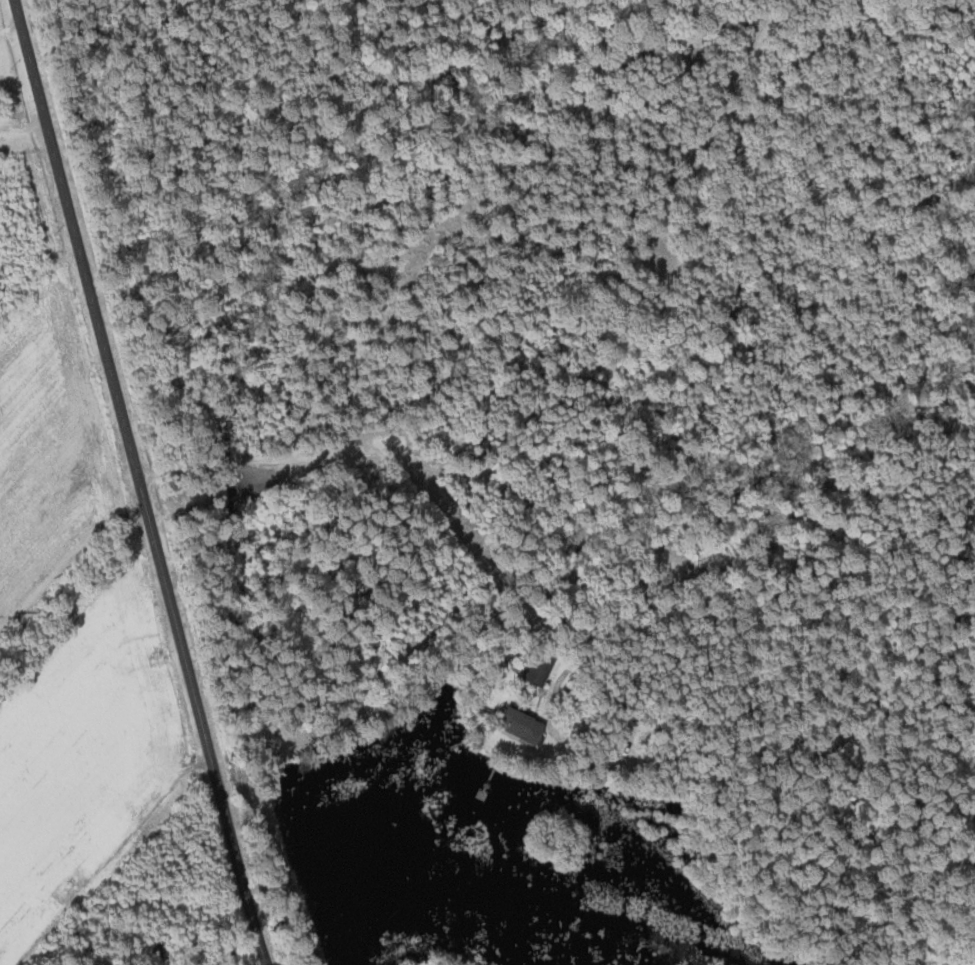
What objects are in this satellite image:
road: (337, 456)
road: (137, 482)
building: (531, 673)
building: (513, 726)

